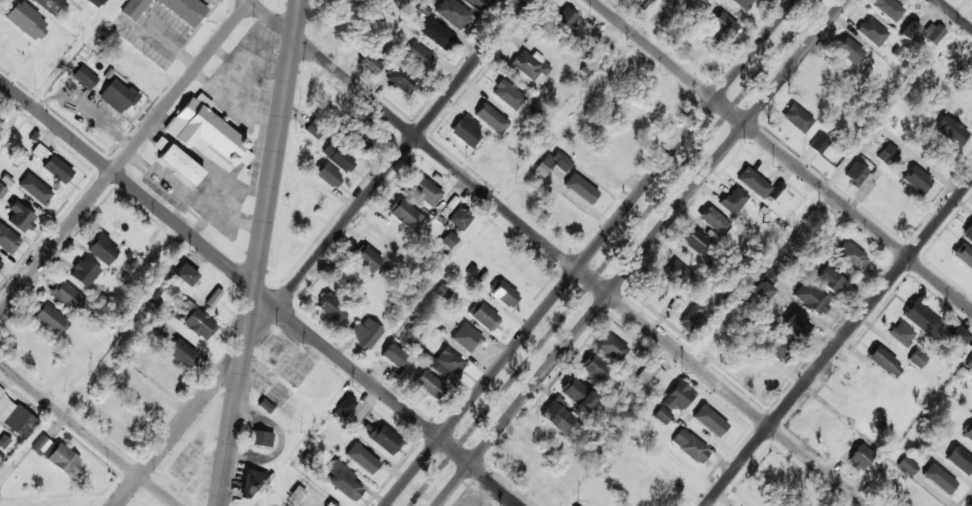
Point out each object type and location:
building: (477, 2)
building: (95, 3)
building: (640, 3)
building: (742, 4)
building: (49, 5)
building: (133, 8)
building: (887, 8)
building: (184, 10)
building: (453, 14)
road: (954, 14)
building: (26, 20)
building: (565, 20)
building: (723, 27)
building: (908, 31)
building: (871, 32)
building: (931, 33)
building: (438, 34)
road: (362, 35)
building: (605, 46)
building: (848, 50)
building: (418, 55)
building: (368, 64)
building: (529, 65)
building: (84, 76)
building: (401, 79)
building: (969, 84)
building: (508, 95)
building: (117, 96)
building: (659, 98)
road: (578, 101)
road: (893, 104)
building: (796, 118)
building: (491, 119)
building: (205, 131)
building: (466, 131)
building: (950, 132)
building: (818, 144)
road: (125, 154)
road: (782, 154)
building: (337, 157)
building: (884, 159)
building: (176, 162)
building: (553, 163)
building: (56, 169)
building: (854, 174)
building: (328, 176)
building: (916, 179)
building: (753, 183)
building: (35, 189)
building: (580, 189)
building: (2, 190)
building: (423, 190)
building: (733, 200)
building: (406, 215)
building: (20, 217)
building: (459, 219)
building: (715, 221)
building: (968, 232)
building: (7, 240)
building: (449, 240)
building: (696, 241)
building: (102, 249)
road: (319, 252)
road: (558, 252)
road: (589, 252)
road: (612, 252)
road: (259, 253)
road: (641, 253)
building: (963, 254)
building: (850, 256)
building: (0, 259)
building: (367, 259)
building: (84, 272)
building: (678, 273)
building: (185, 274)
building: (770, 277)
building: (830, 280)
building: (657, 287)
road: (260, 292)
building: (761, 292)
building: (444, 293)
building: (504, 294)
building: (69, 297)
building: (810, 298)
building: (332, 309)
building: (485, 317)
building: (692, 318)
building: (47, 319)
building: (921, 319)
building: (197, 323)
road: (127, 324)
building: (794, 326)
building: (365, 332)
building: (901, 333)
building: (957, 336)
building: (466, 338)
road: (838, 341)
building: (720, 342)
building: (611, 347)
building: (776, 348)
building: (182, 353)
building: (393, 355)
building: (916, 358)
building: (970, 360)
building: (438, 361)
building: (884, 362)
building: (593, 367)
building: (758, 372)
building: (648, 375)
building: (428, 384)
building: (577, 394)
building: (677, 396)
building: (345, 406)
building: (661, 414)
building: (557, 416)
building: (15, 417)
building: (709, 420)
road: (907, 425)
building: (968, 433)
road: (88, 434)
building: (261, 438)
building: (384, 439)
building: (689, 446)
building: (56, 455)
building: (361, 458)
building: (858, 458)
building: (959, 460)
building: (907, 465)
building: (938, 478)
building: (343, 480)
building: (250, 482)
building: (296, 493)
building: (328, 503)
building: (575, 505)

